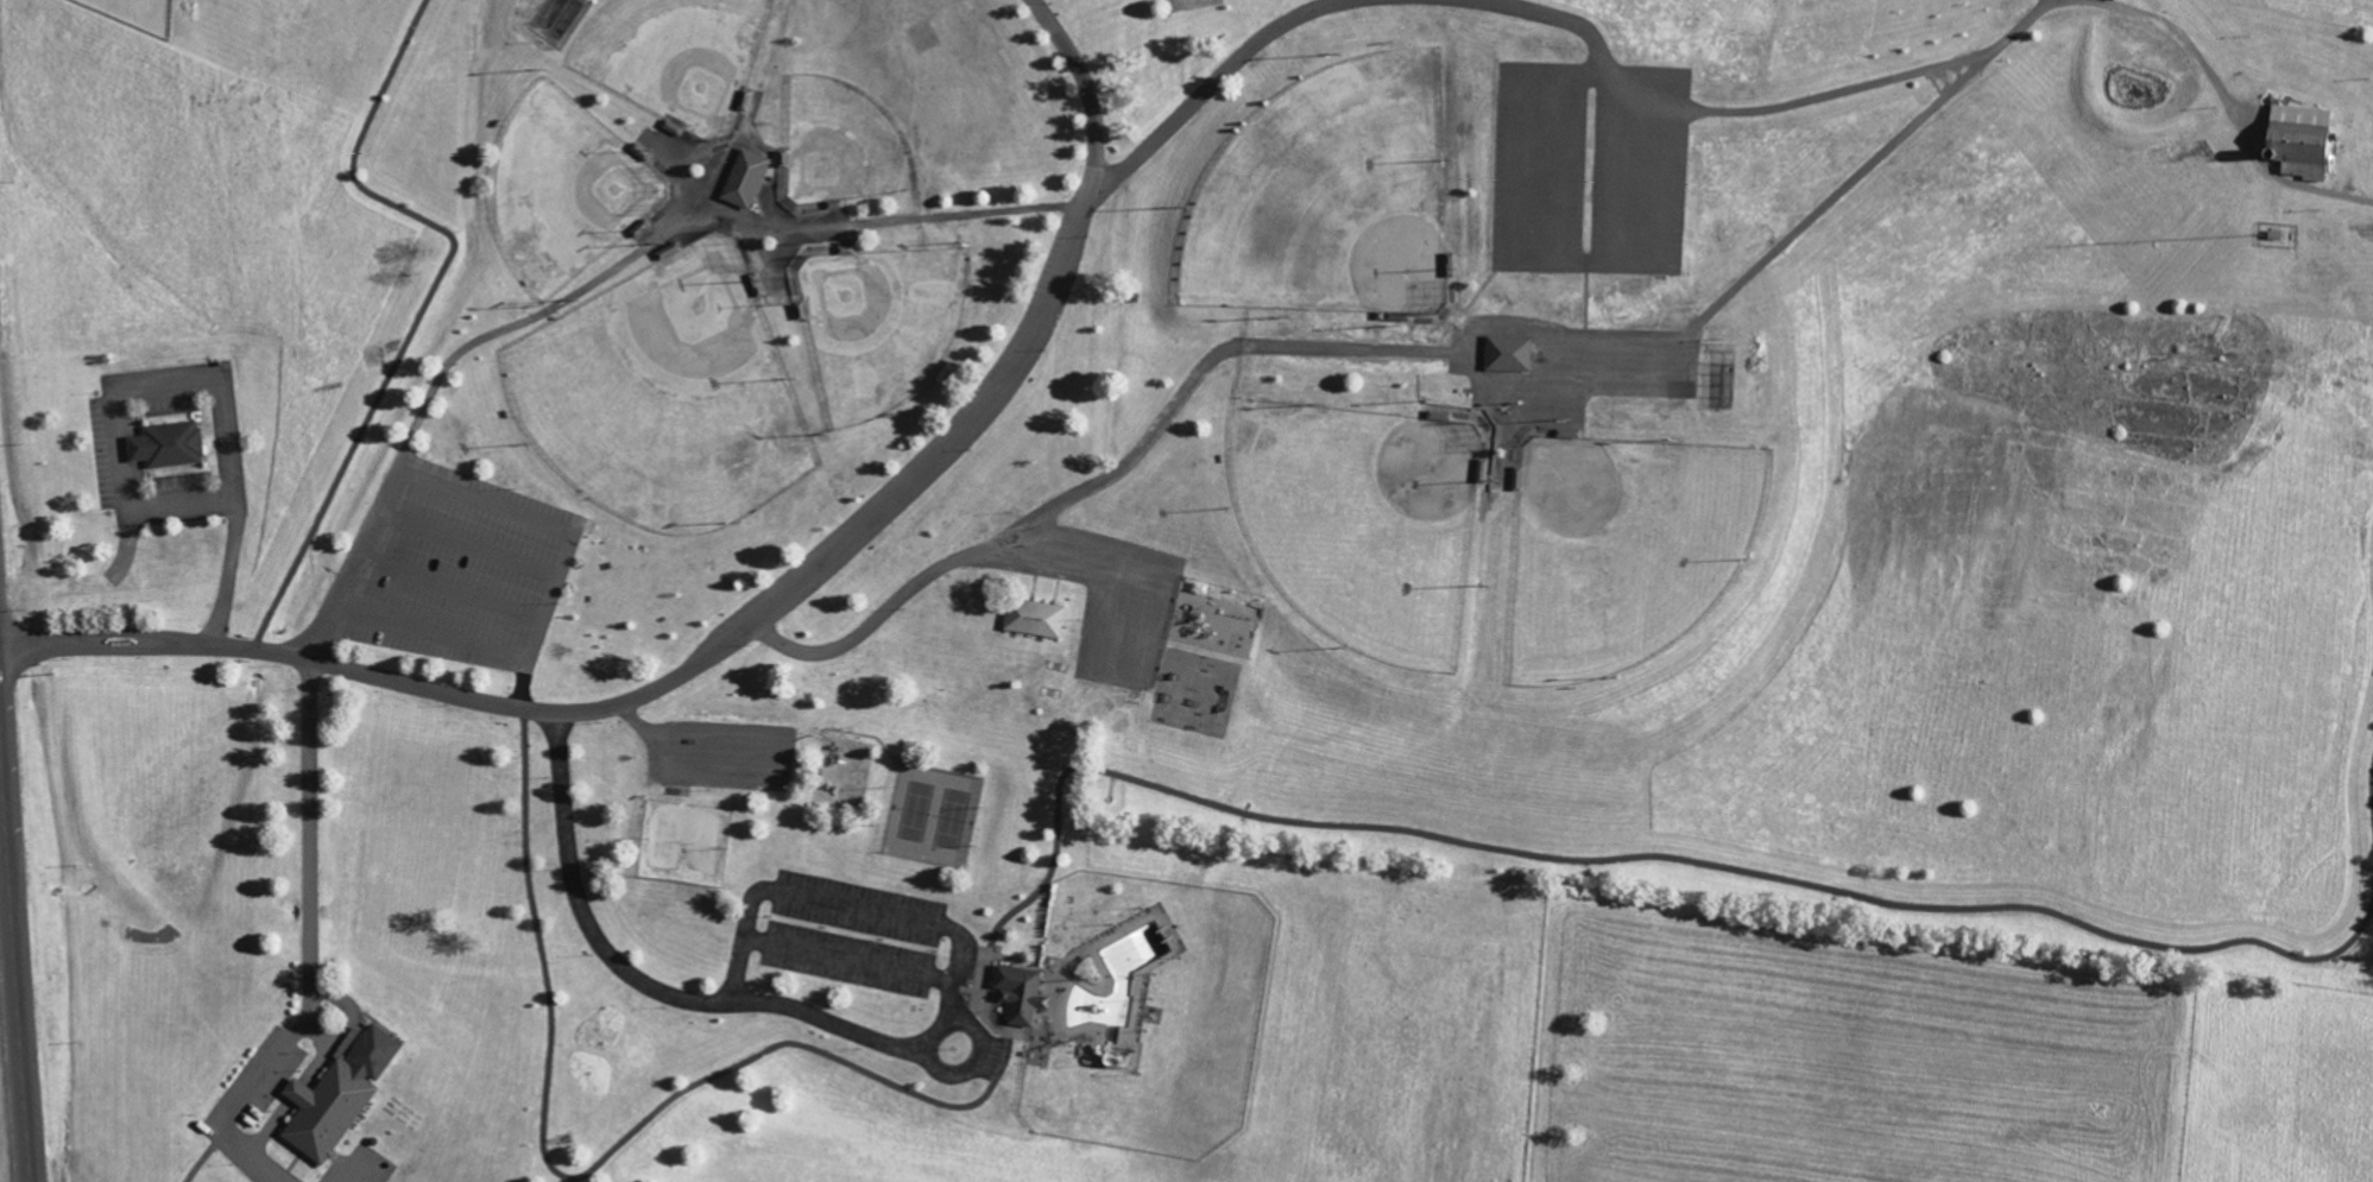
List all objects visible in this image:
building: (2298, 139)
building: (744, 177)
road: (424, 302)
road: (1609, 347)
building: (1506, 353)
building: (175, 444)
park: (1232, 573)
building: (1033, 617)
road: (741, 625)
road: (115, 645)
road: (1086, 766)
road: (2371, 797)
road: (313, 830)
road: (850, 959)
road: (14, 973)
road: (966, 987)
building: (1018, 992)
road: (902, 1050)
building: (336, 1095)
road: (241, 1101)
road: (353, 1175)

